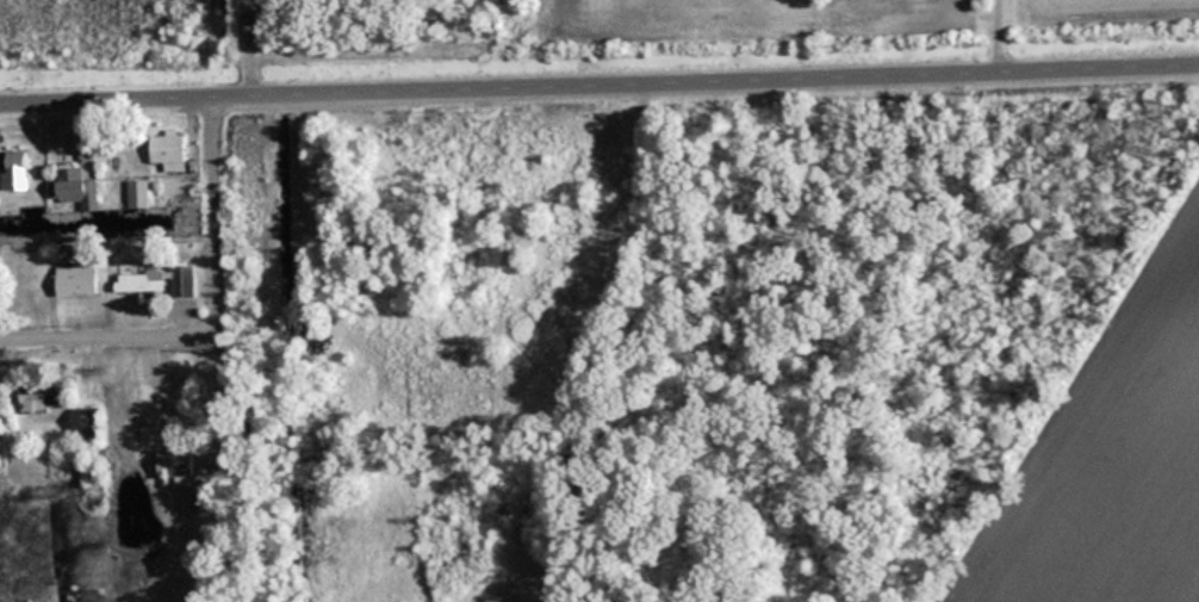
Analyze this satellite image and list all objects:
road: (1005, 35)
road: (247, 46)
road: (599, 83)
building: (169, 151)
building: (14, 175)
building: (69, 185)
building: (77, 280)
building: (159, 281)
road: (213, 314)
road: (589, 346)
building: (41, 395)
building: (87, 423)
building: (175, 466)

